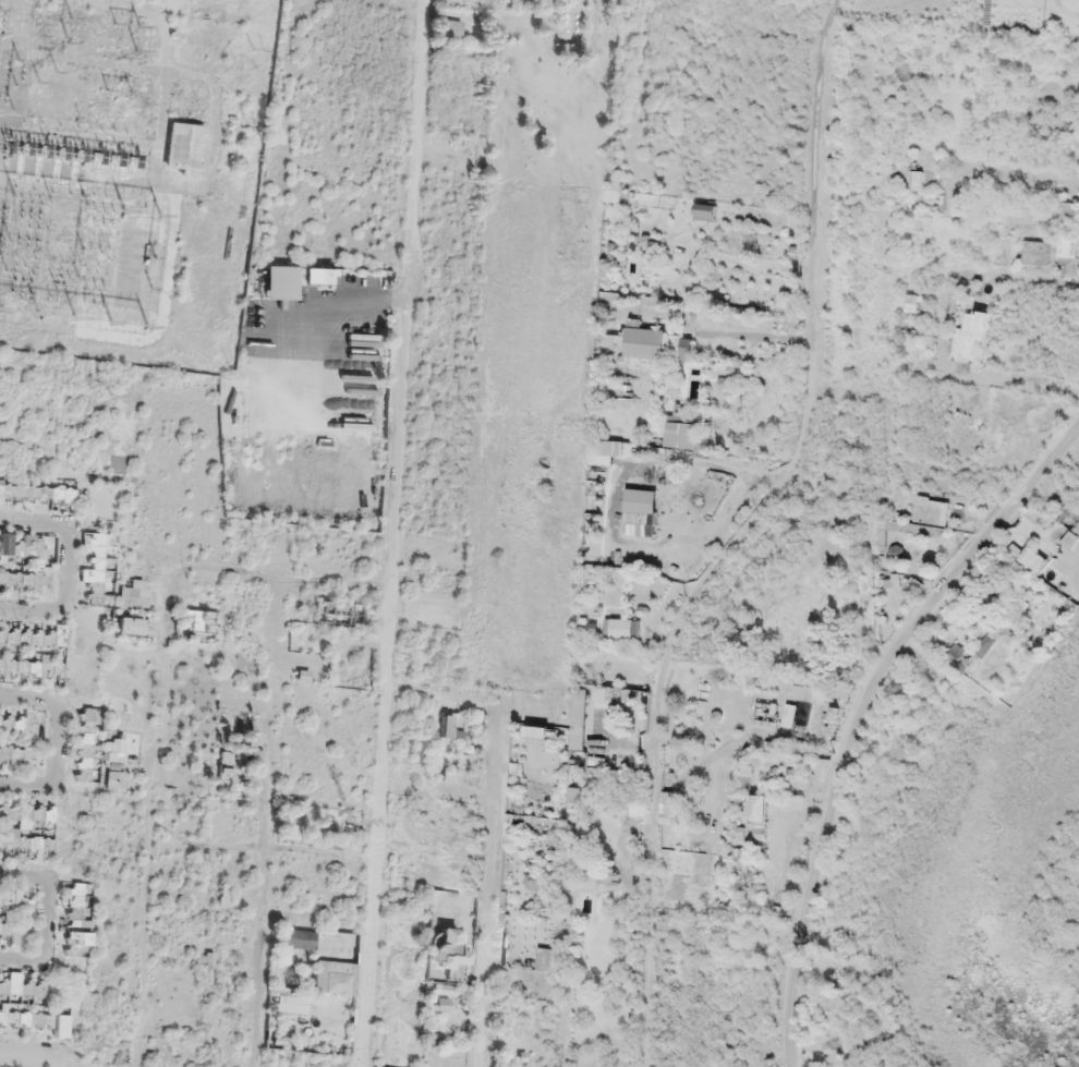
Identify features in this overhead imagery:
power substation: (130, 170)

